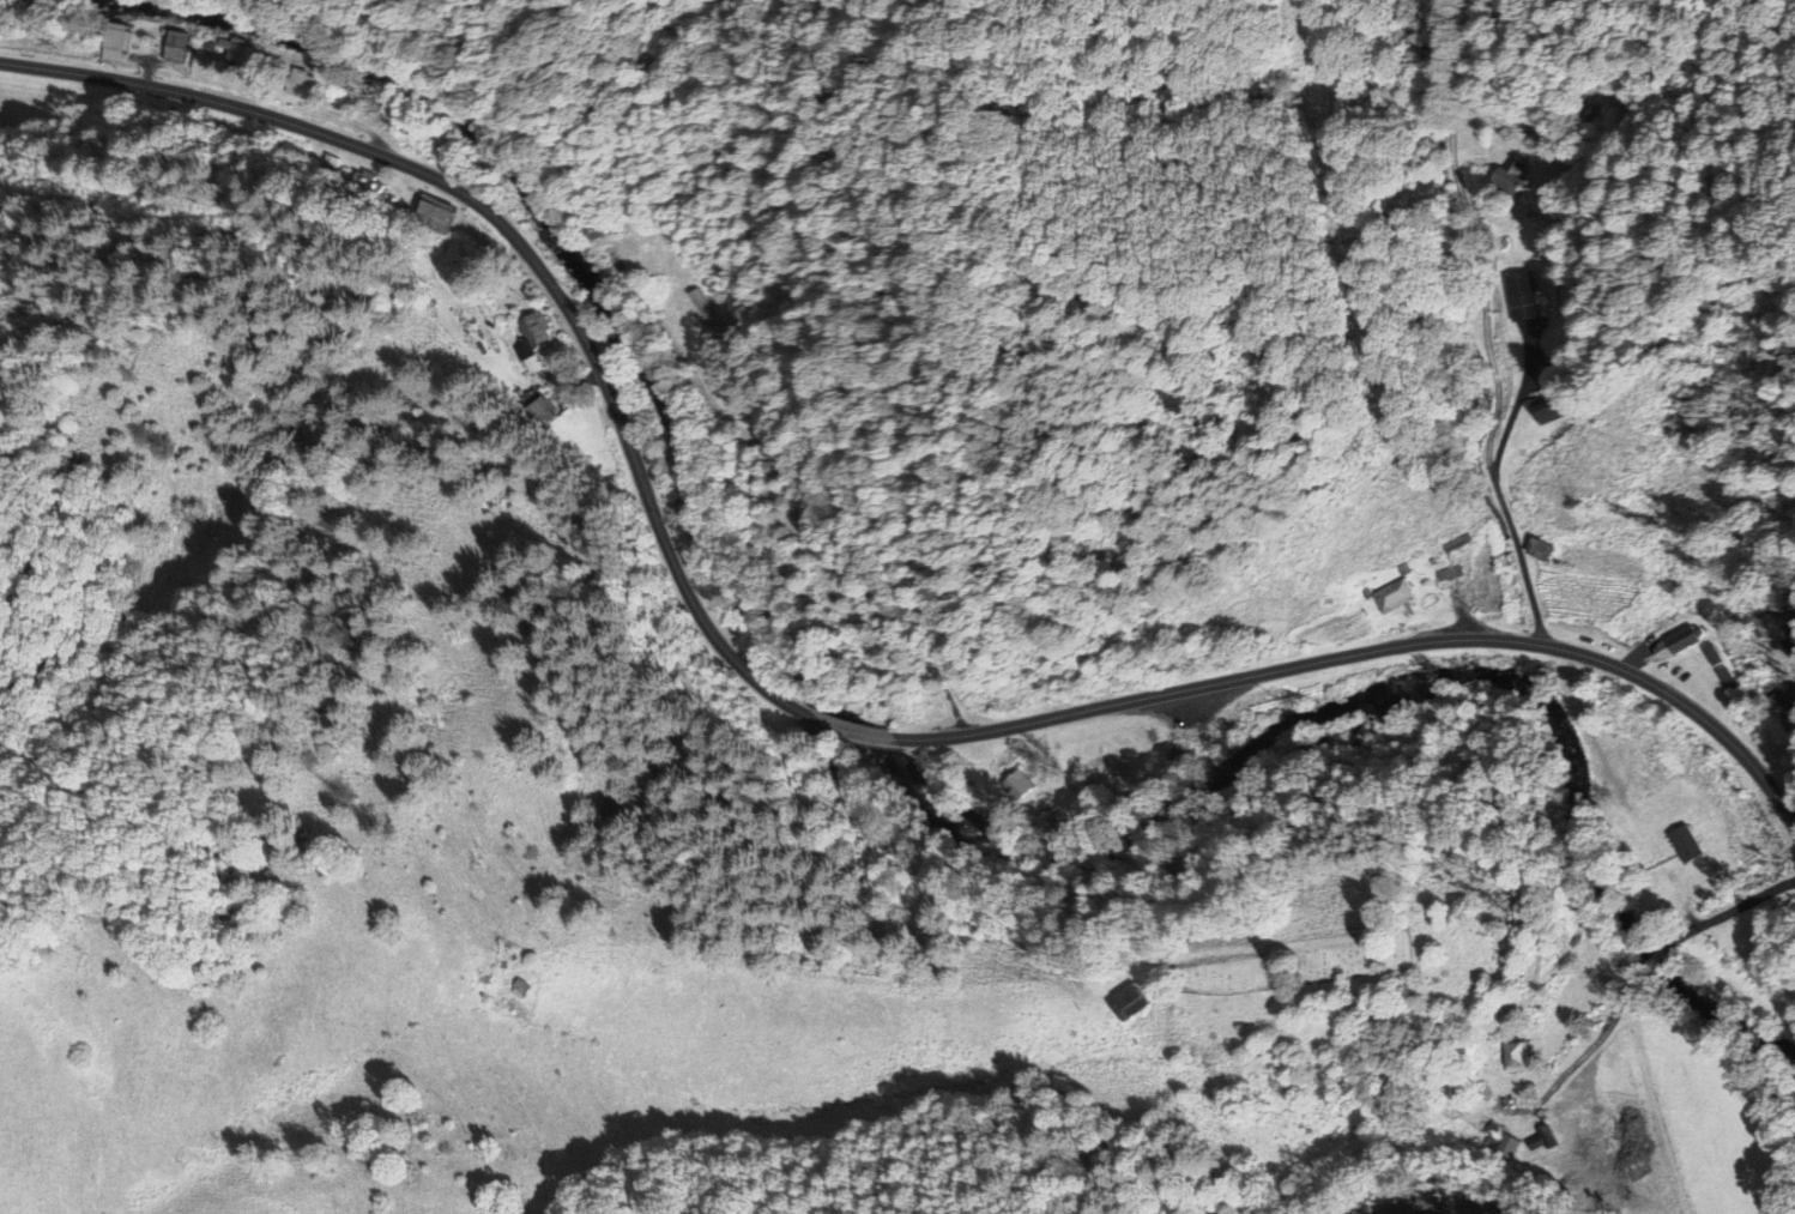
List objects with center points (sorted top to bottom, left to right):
building: (109, 42)
building: (170, 47)
building: (236, 55)
building: (297, 85)
building: (430, 216)
road: (526, 248)
building: (1515, 296)
building: (702, 315)
building: (534, 407)
building: (1542, 413)
road: (1494, 484)
building: (1536, 549)
building: (1390, 596)
building: (1679, 640)
road: (1374, 651)
building: (1722, 680)
building: (1776, 705)
road: (857, 730)
building: (1011, 784)
building: (1680, 842)
road: (1728, 912)
road: (1649, 961)
park: (1294, 962)
building: (513, 987)
building: (1122, 1001)
building: (1512, 1056)
road: (1581, 1059)

